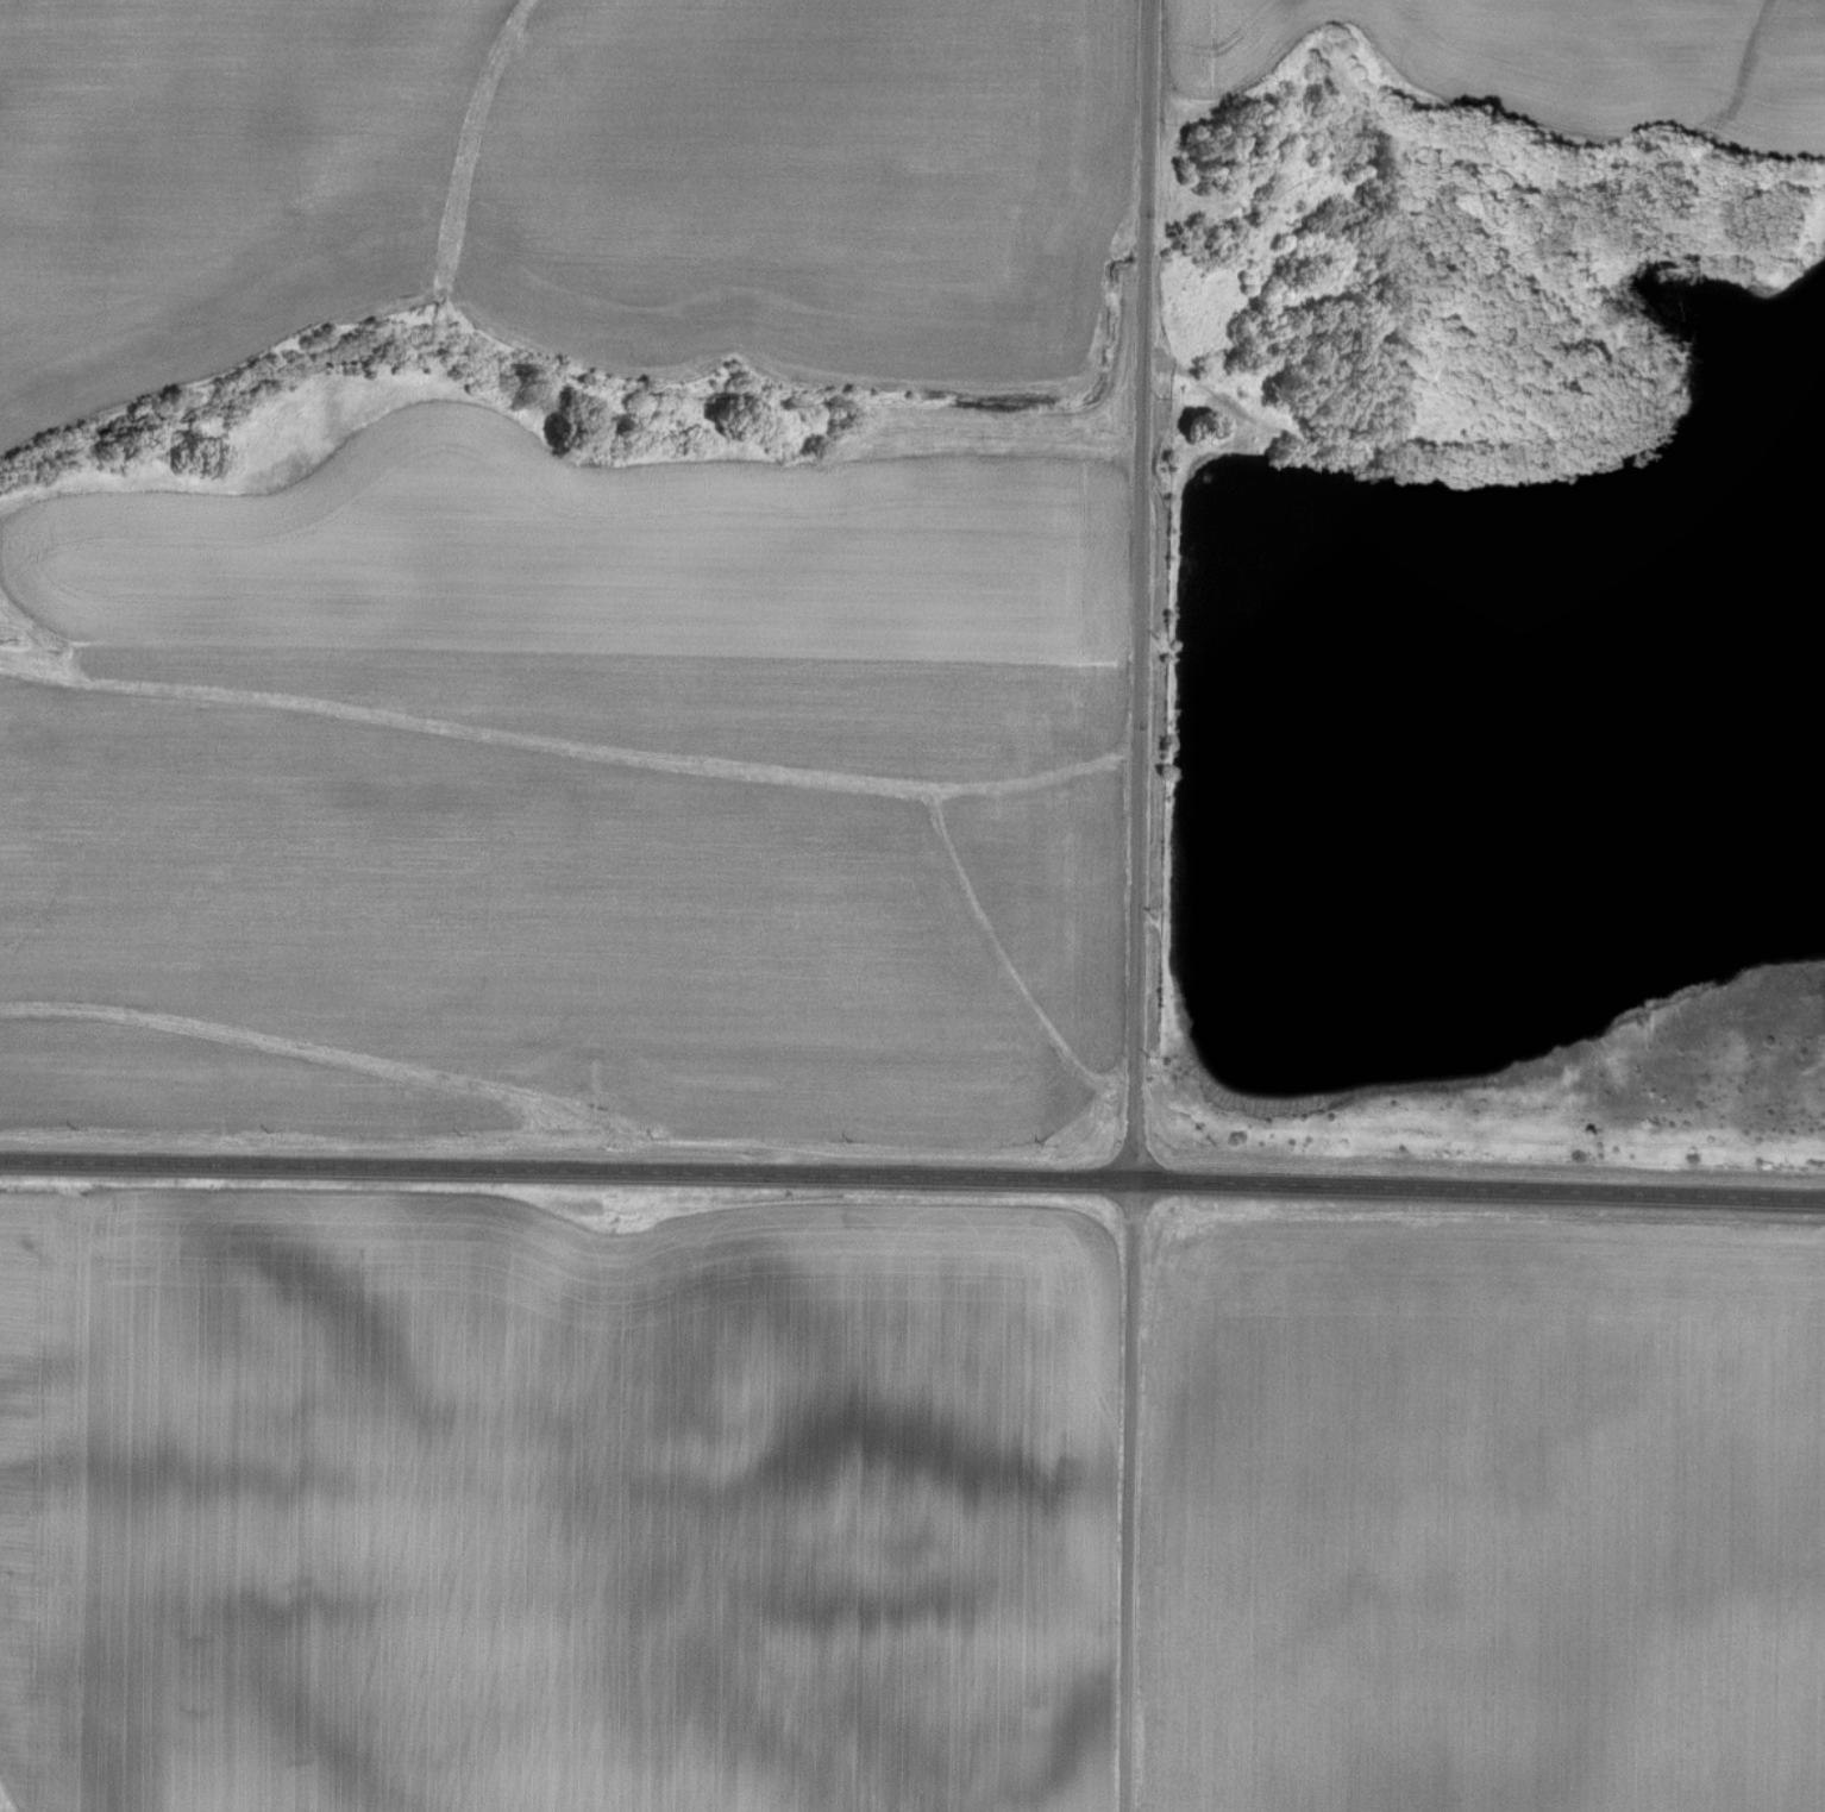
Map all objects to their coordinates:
road: (1136, 905)
road: (912, 1178)

